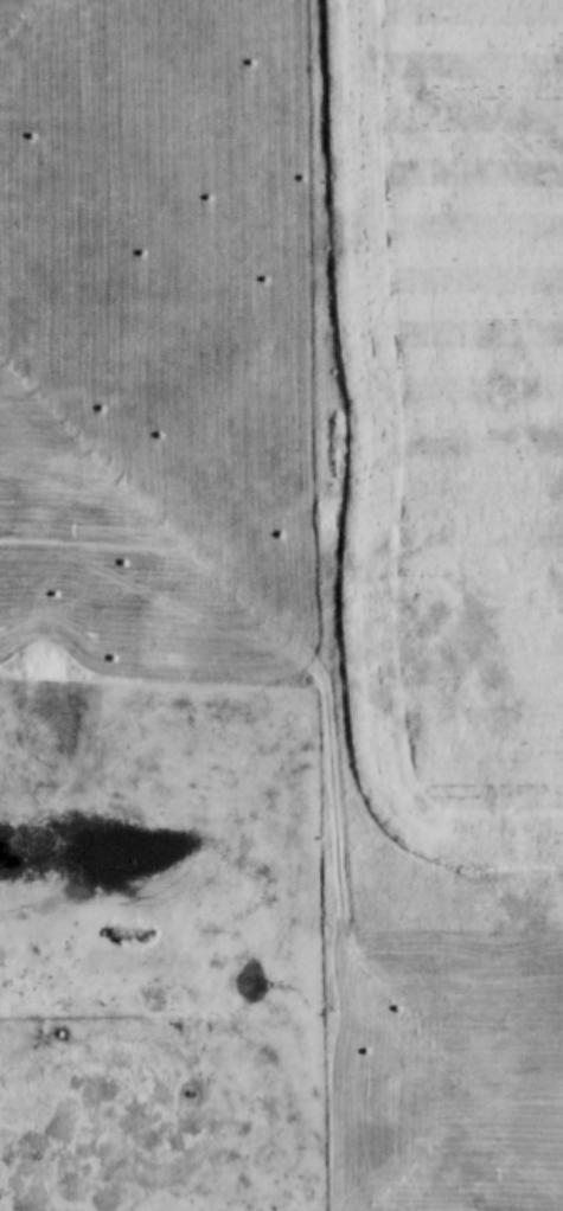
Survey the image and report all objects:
road: (337, 769)
road: (452, 886)
road: (232, 1025)

